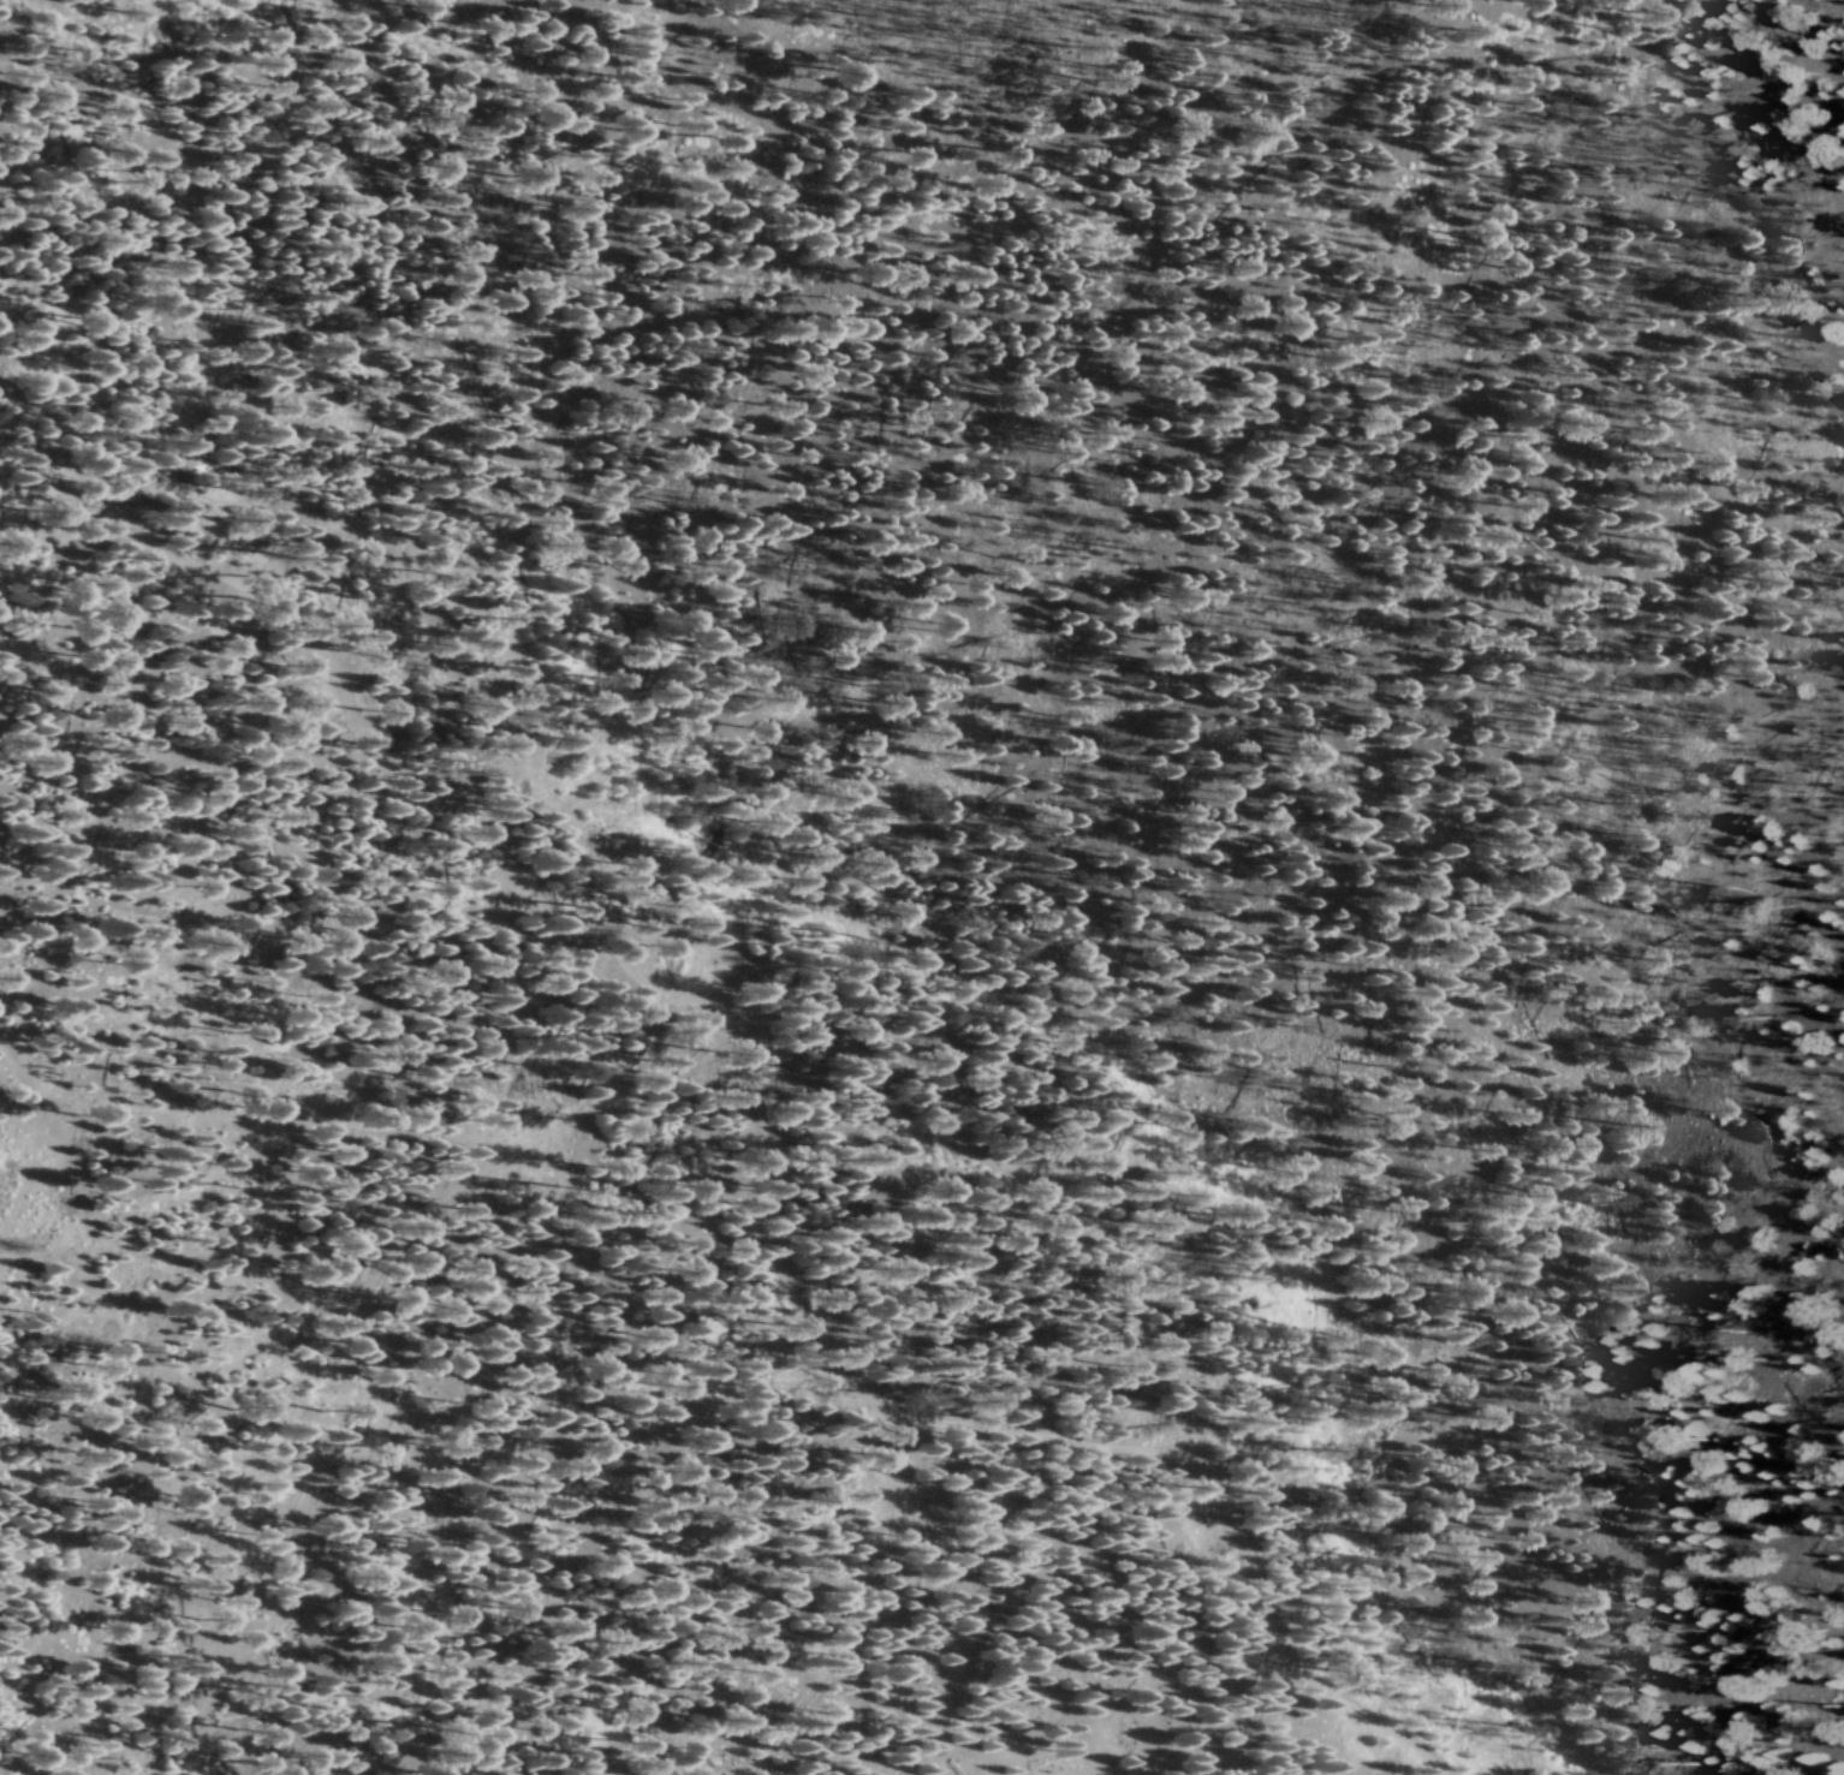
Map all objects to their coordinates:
road: (20, 132)
road: (835, 1106)
road: (779, 1261)
road: (1251, 1580)

